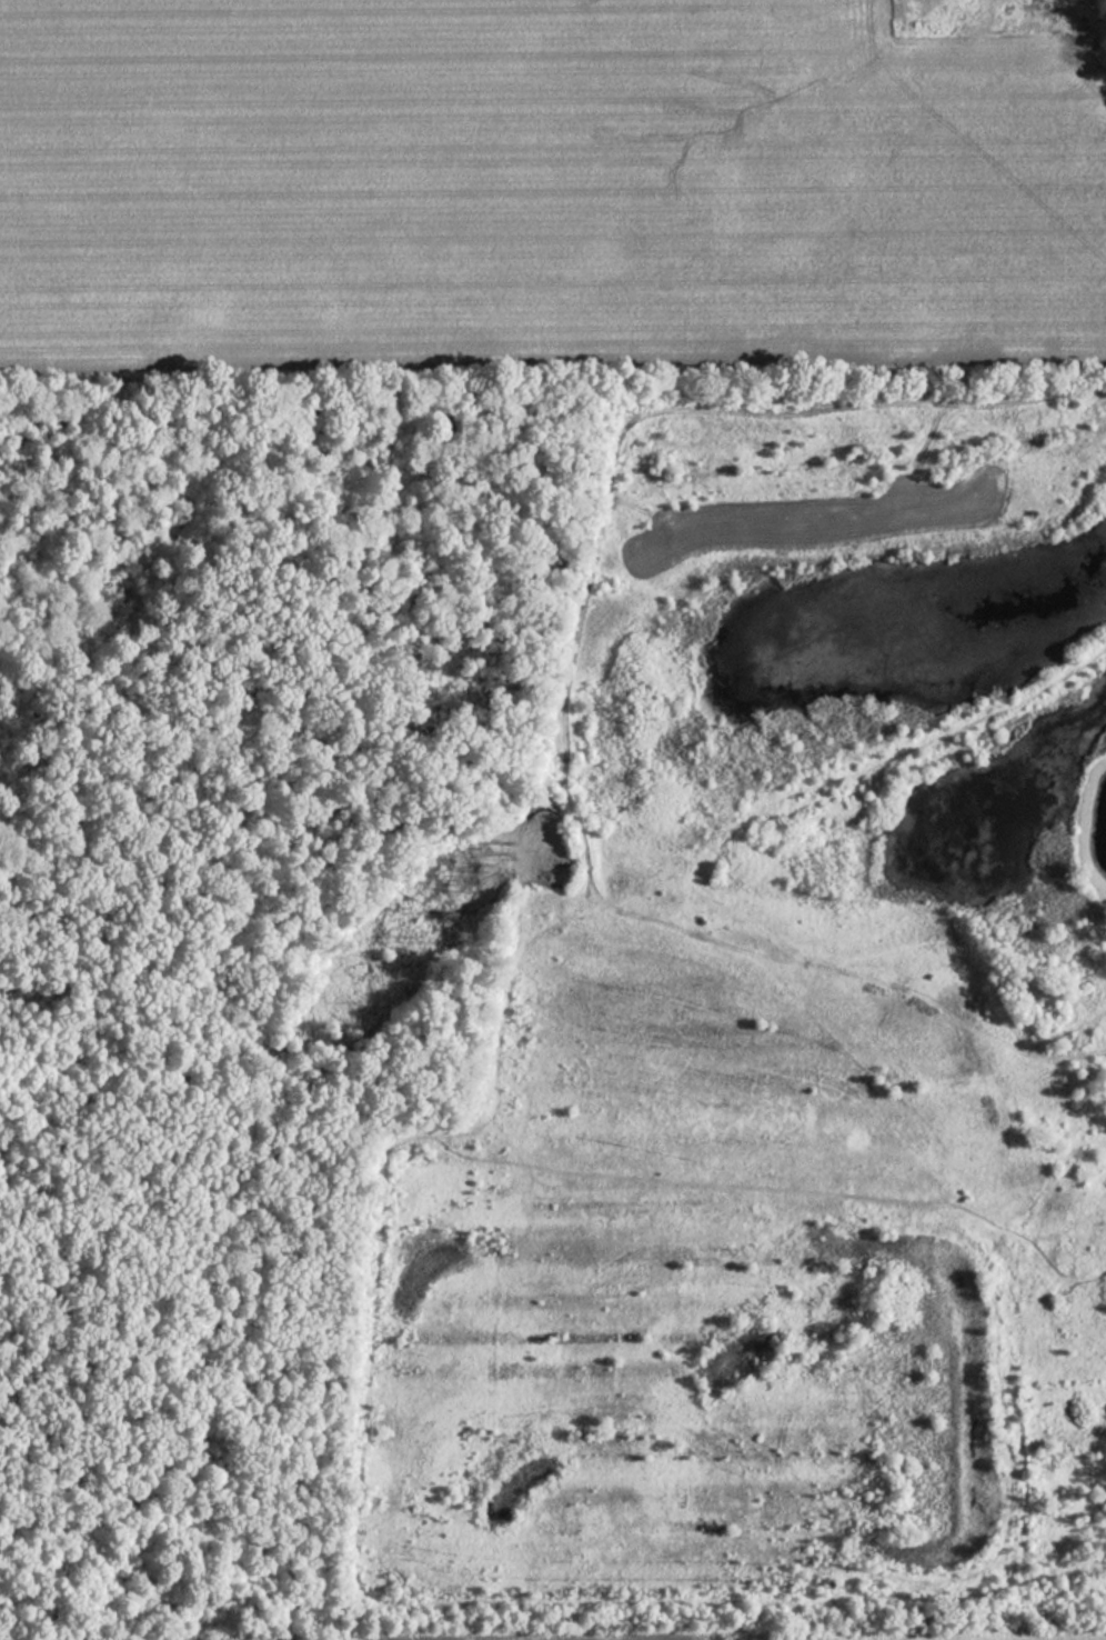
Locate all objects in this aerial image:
crop: (535, 181)
crop: (496, 1631)

